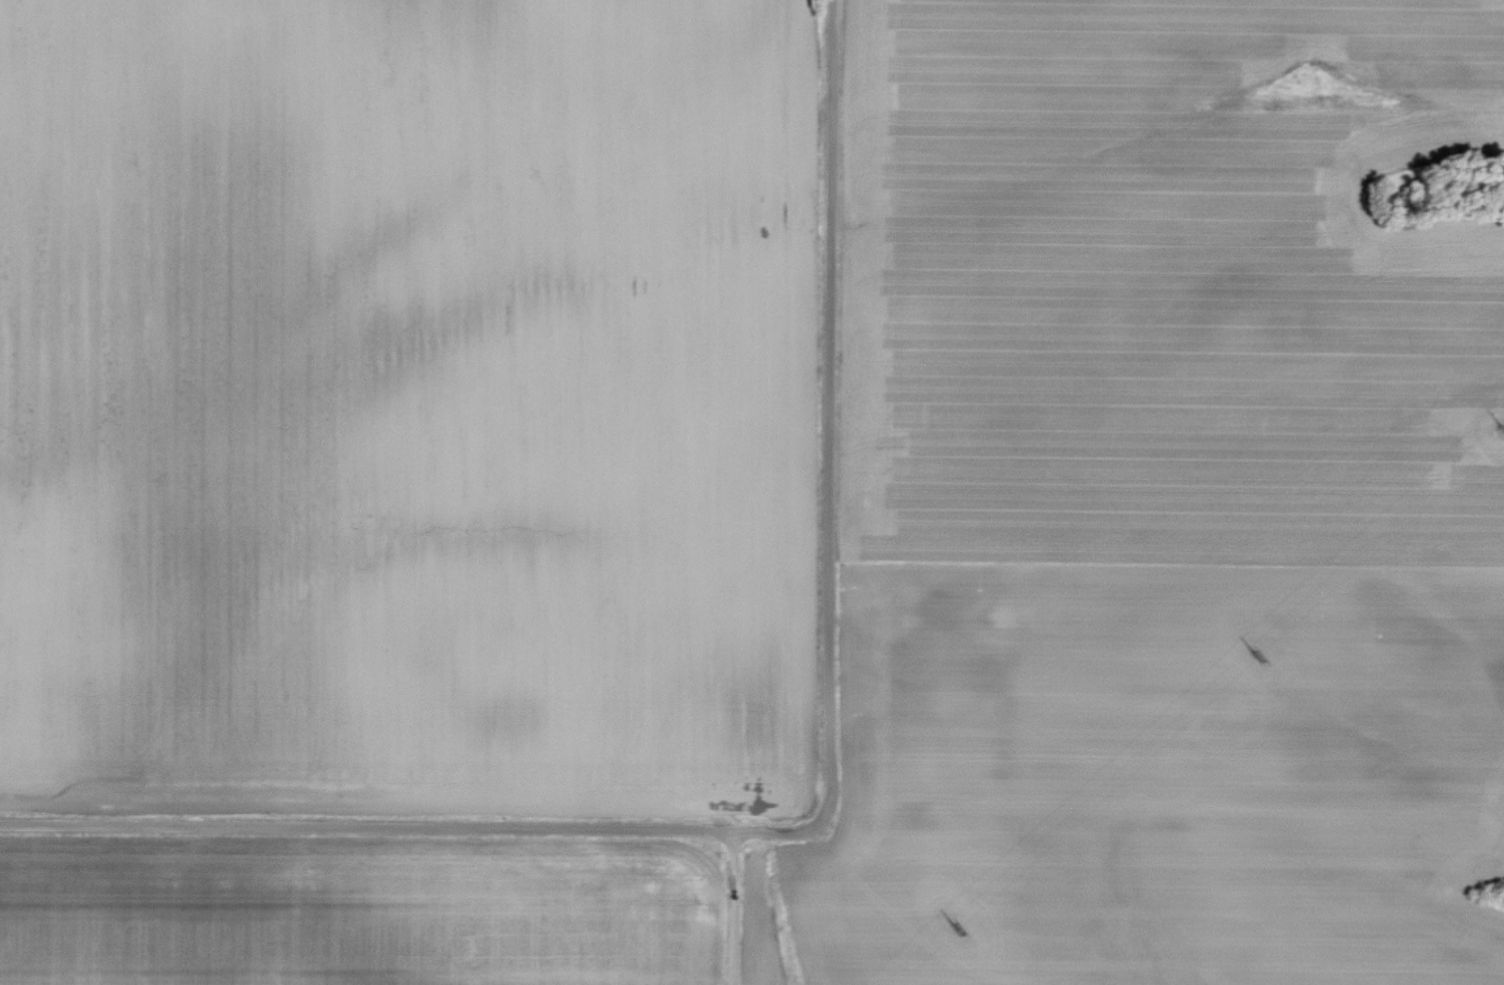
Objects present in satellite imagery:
road: (827, 406)
power tower: (1256, 658)
road: (417, 828)
road: (734, 909)
power tower: (954, 929)

